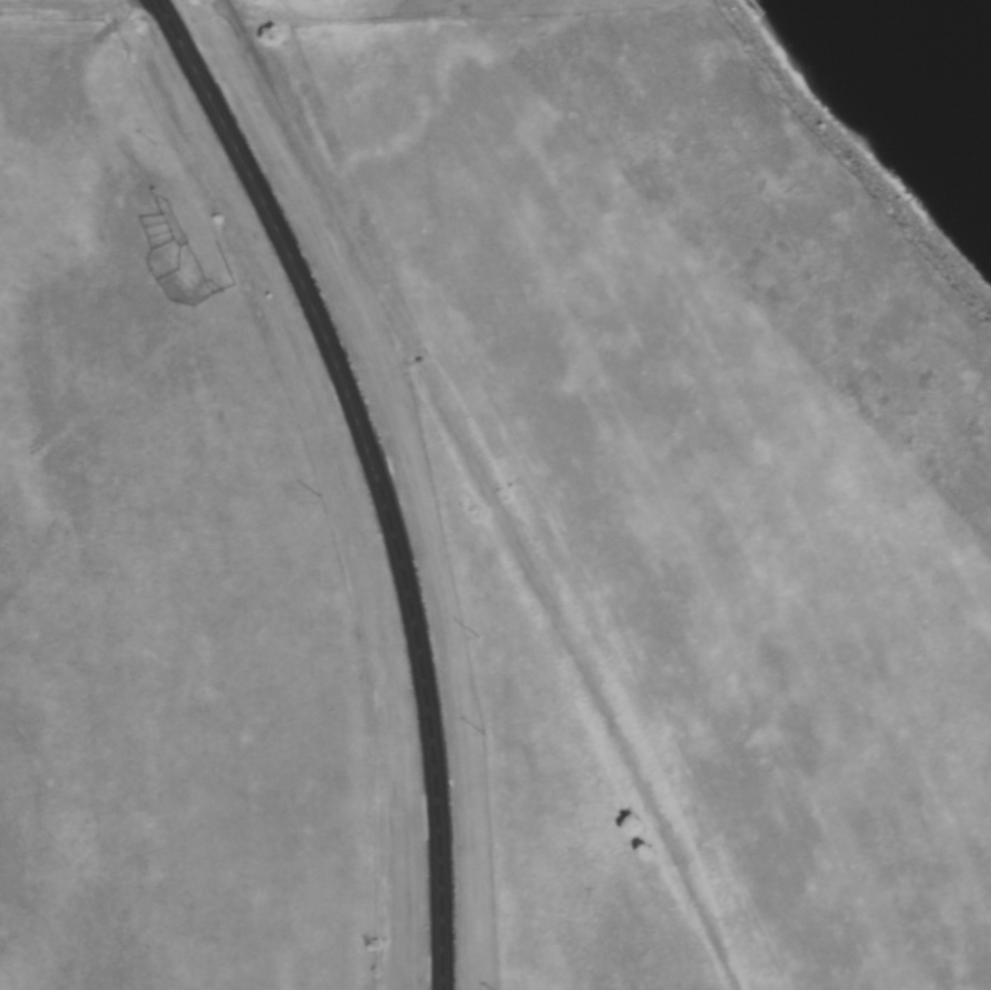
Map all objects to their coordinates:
road: (79, 6)
road: (376, 473)

